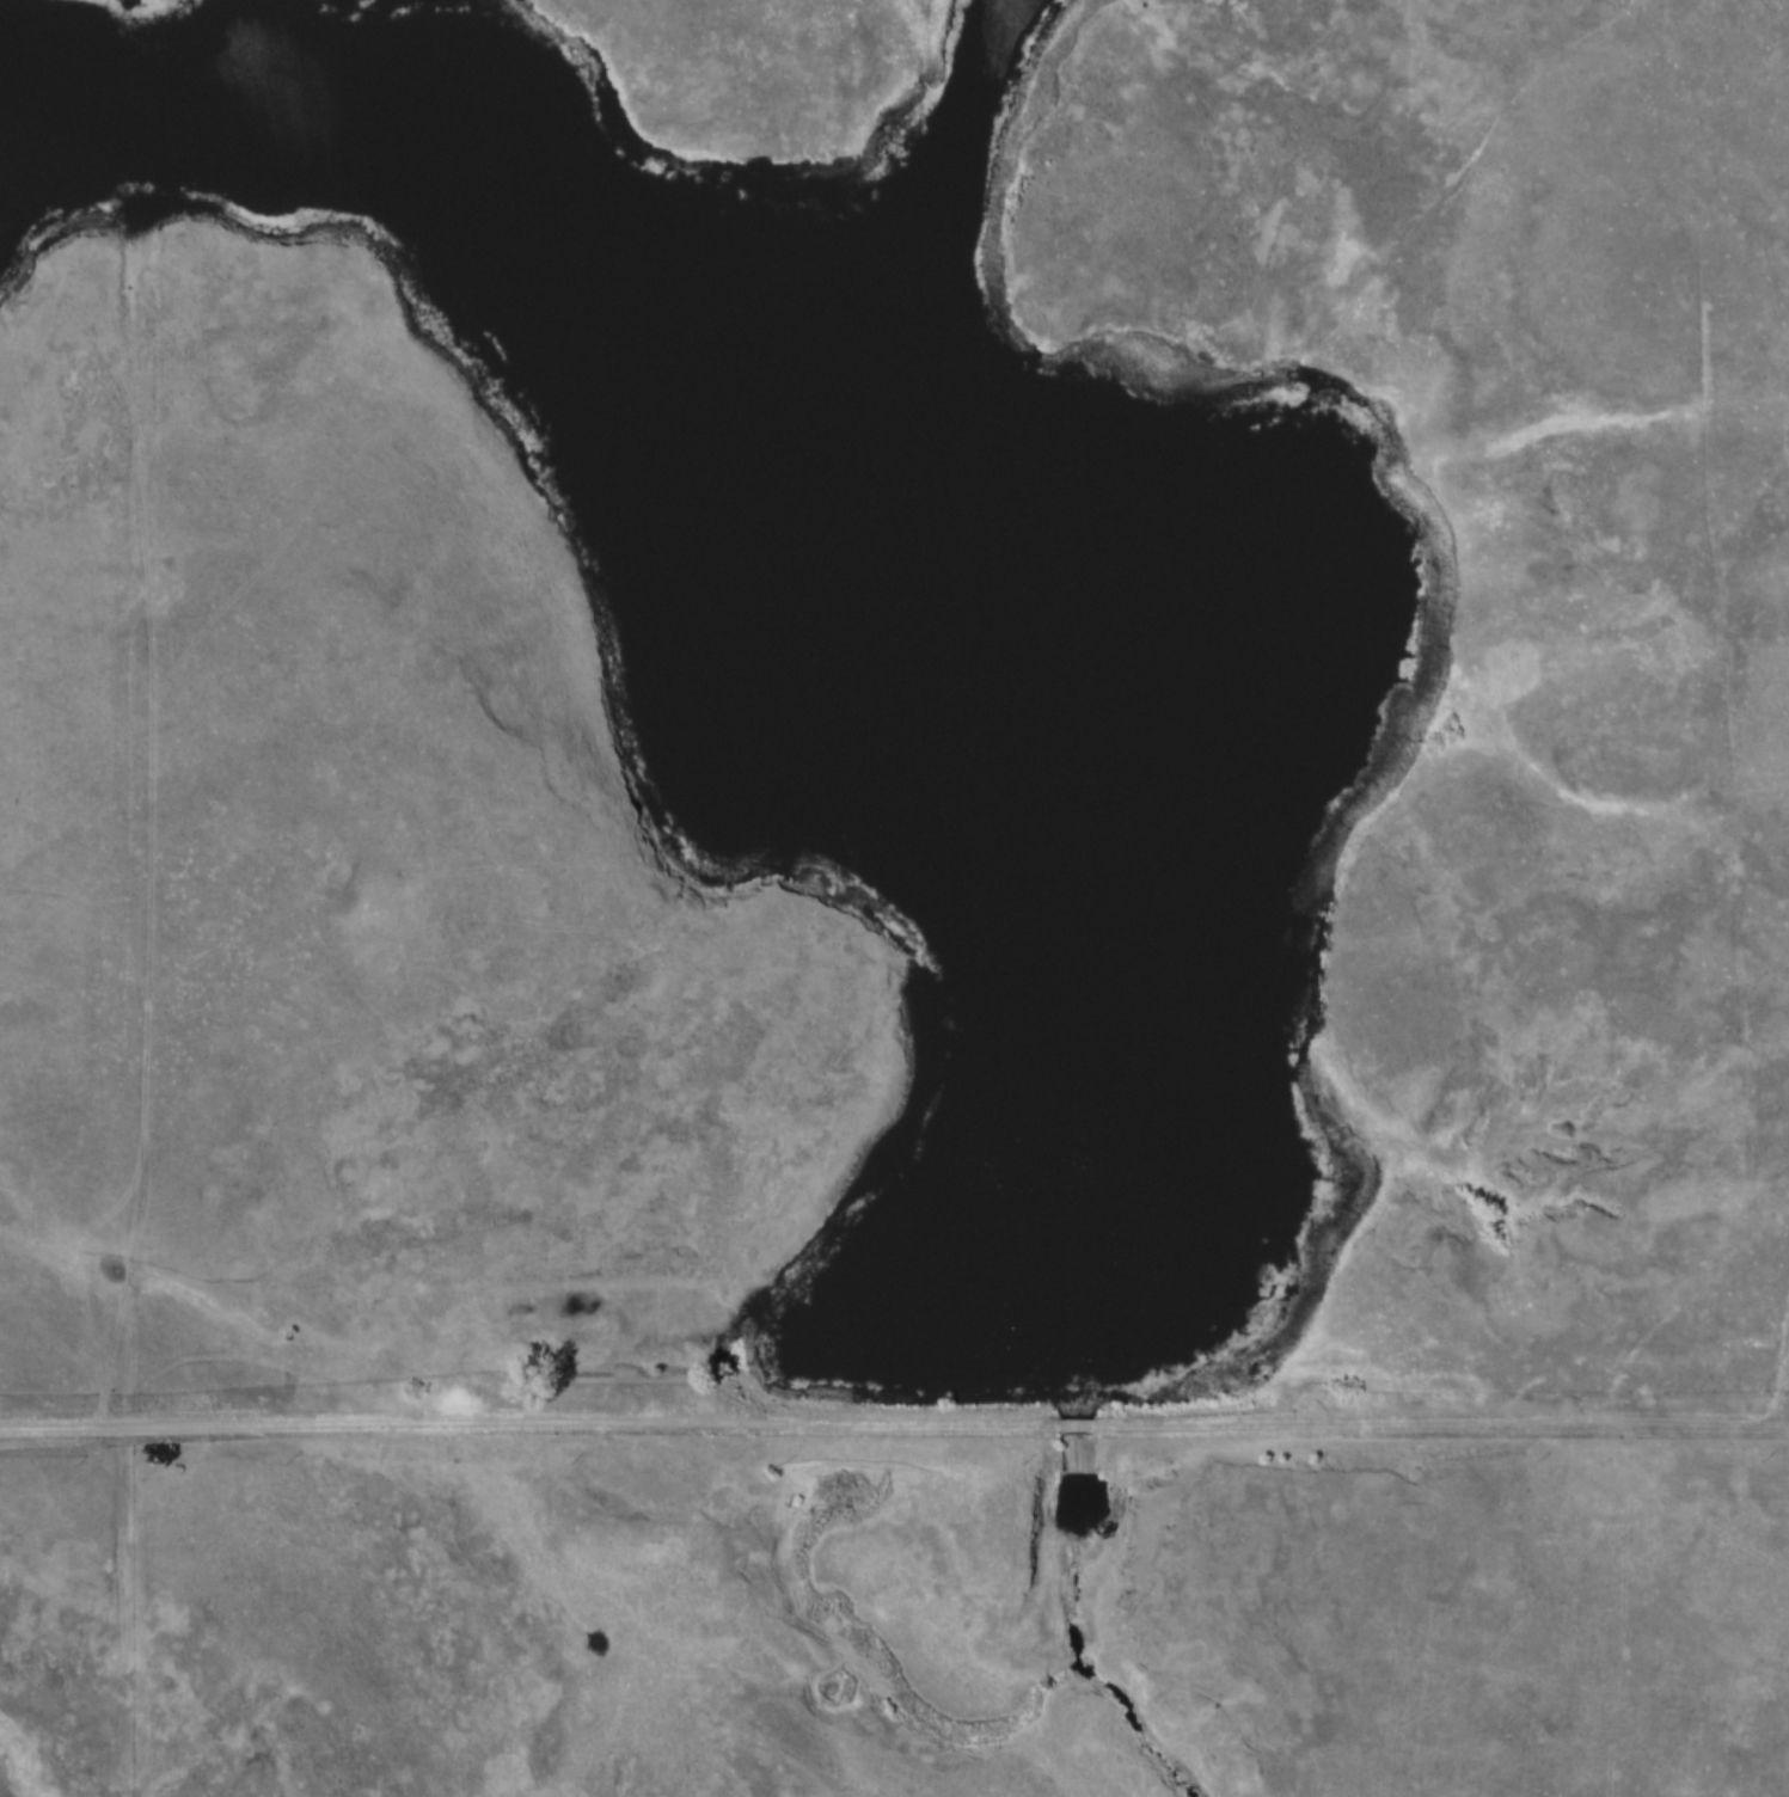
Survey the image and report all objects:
dam: (981, 1393)
road: (894, 1429)

